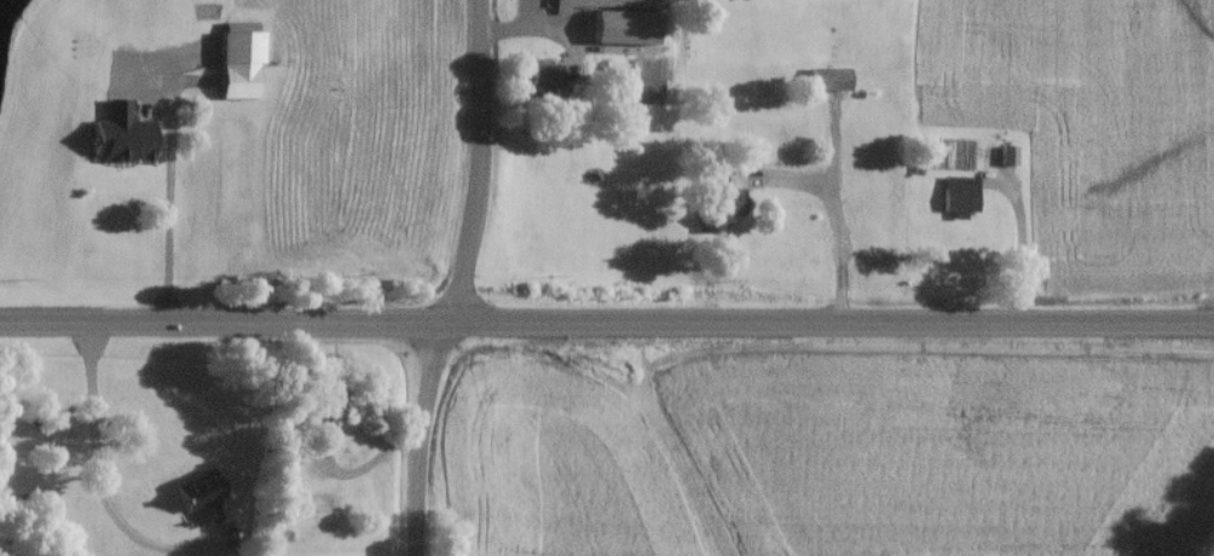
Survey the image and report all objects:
building: (608, 5)
building: (237, 66)
building: (118, 139)
building: (956, 197)
building: (721, 205)
road: (836, 219)
road: (170, 224)
road: (1021, 239)
road: (459, 279)
road: (606, 323)
building: (325, 402)
road: (93, 473)
road: (410, 545)

